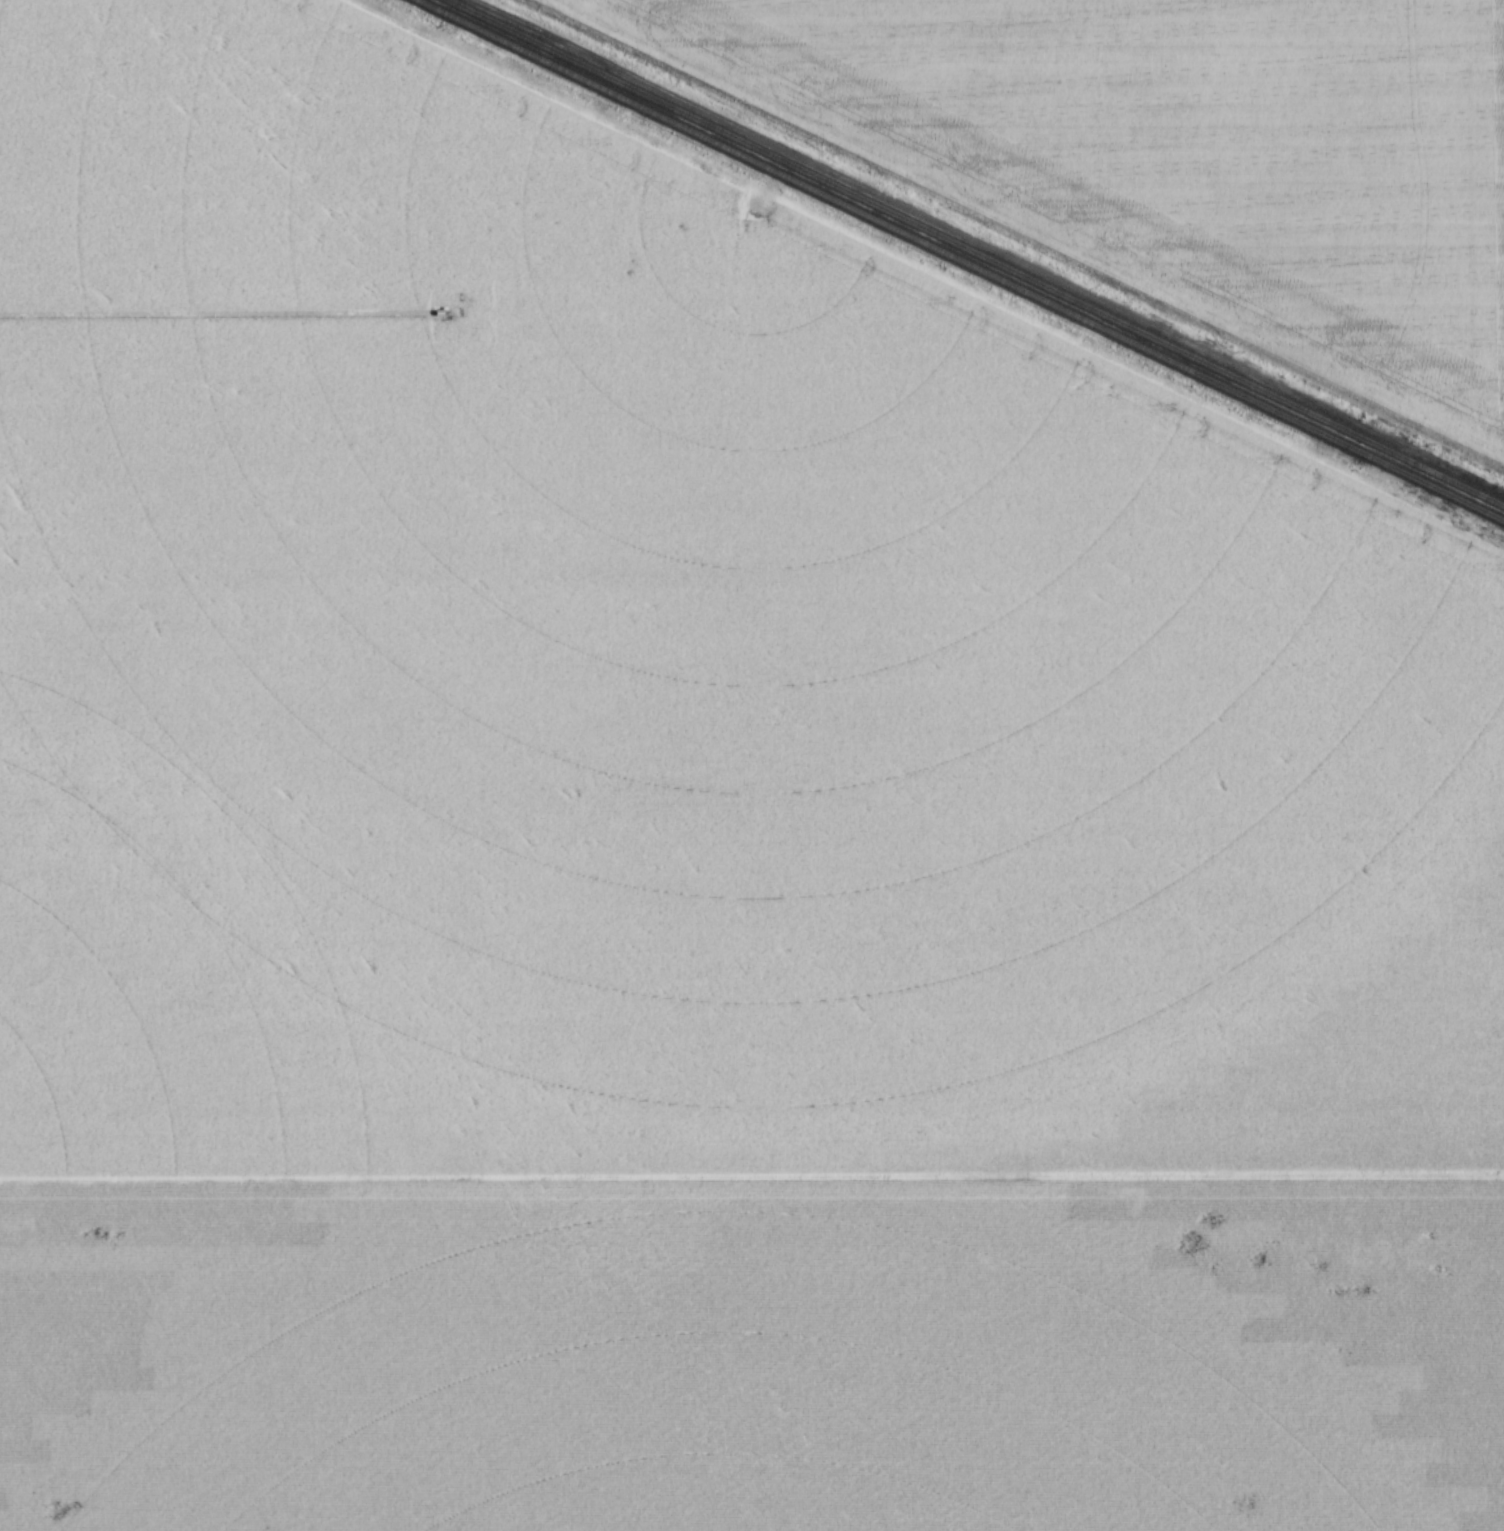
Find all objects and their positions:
crop: (1183, 152)
railway: (978, 250)
railway: (958, 260)
crop: (665, 684)

